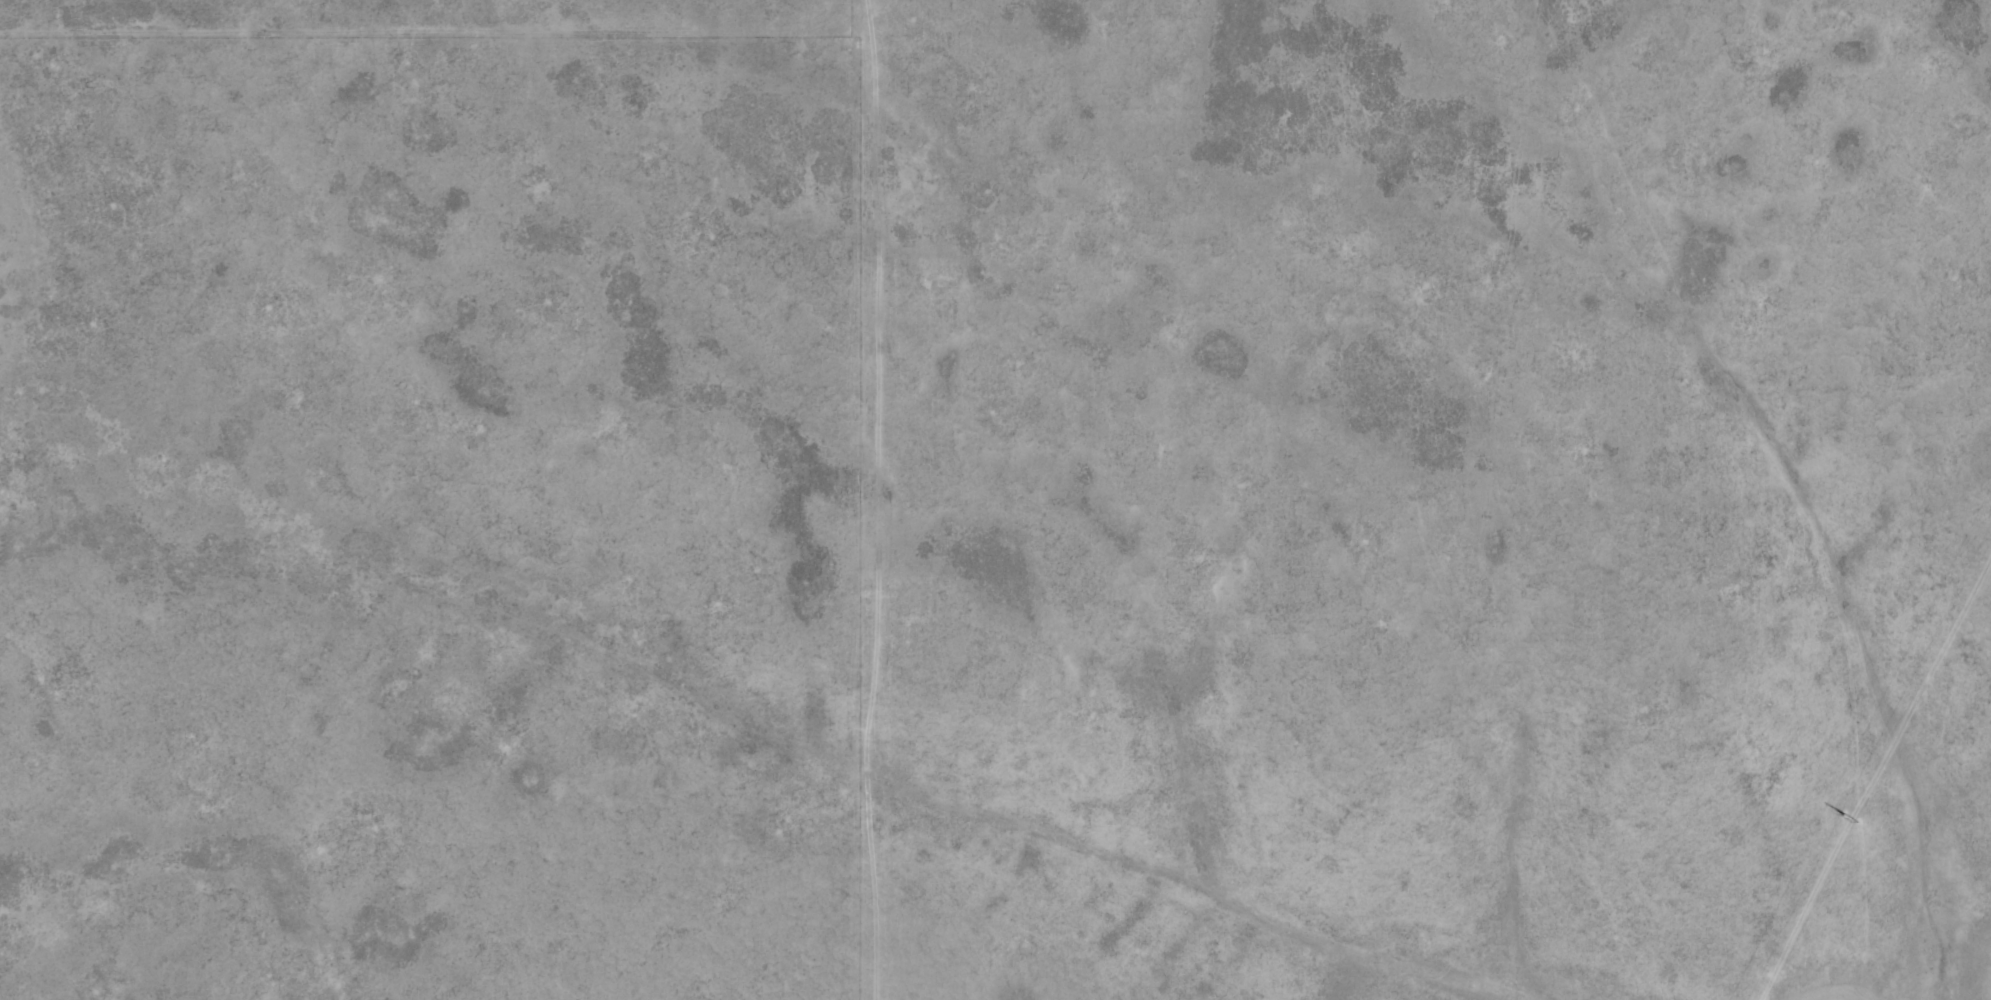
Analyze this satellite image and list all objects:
power tower: (1851, 815)

